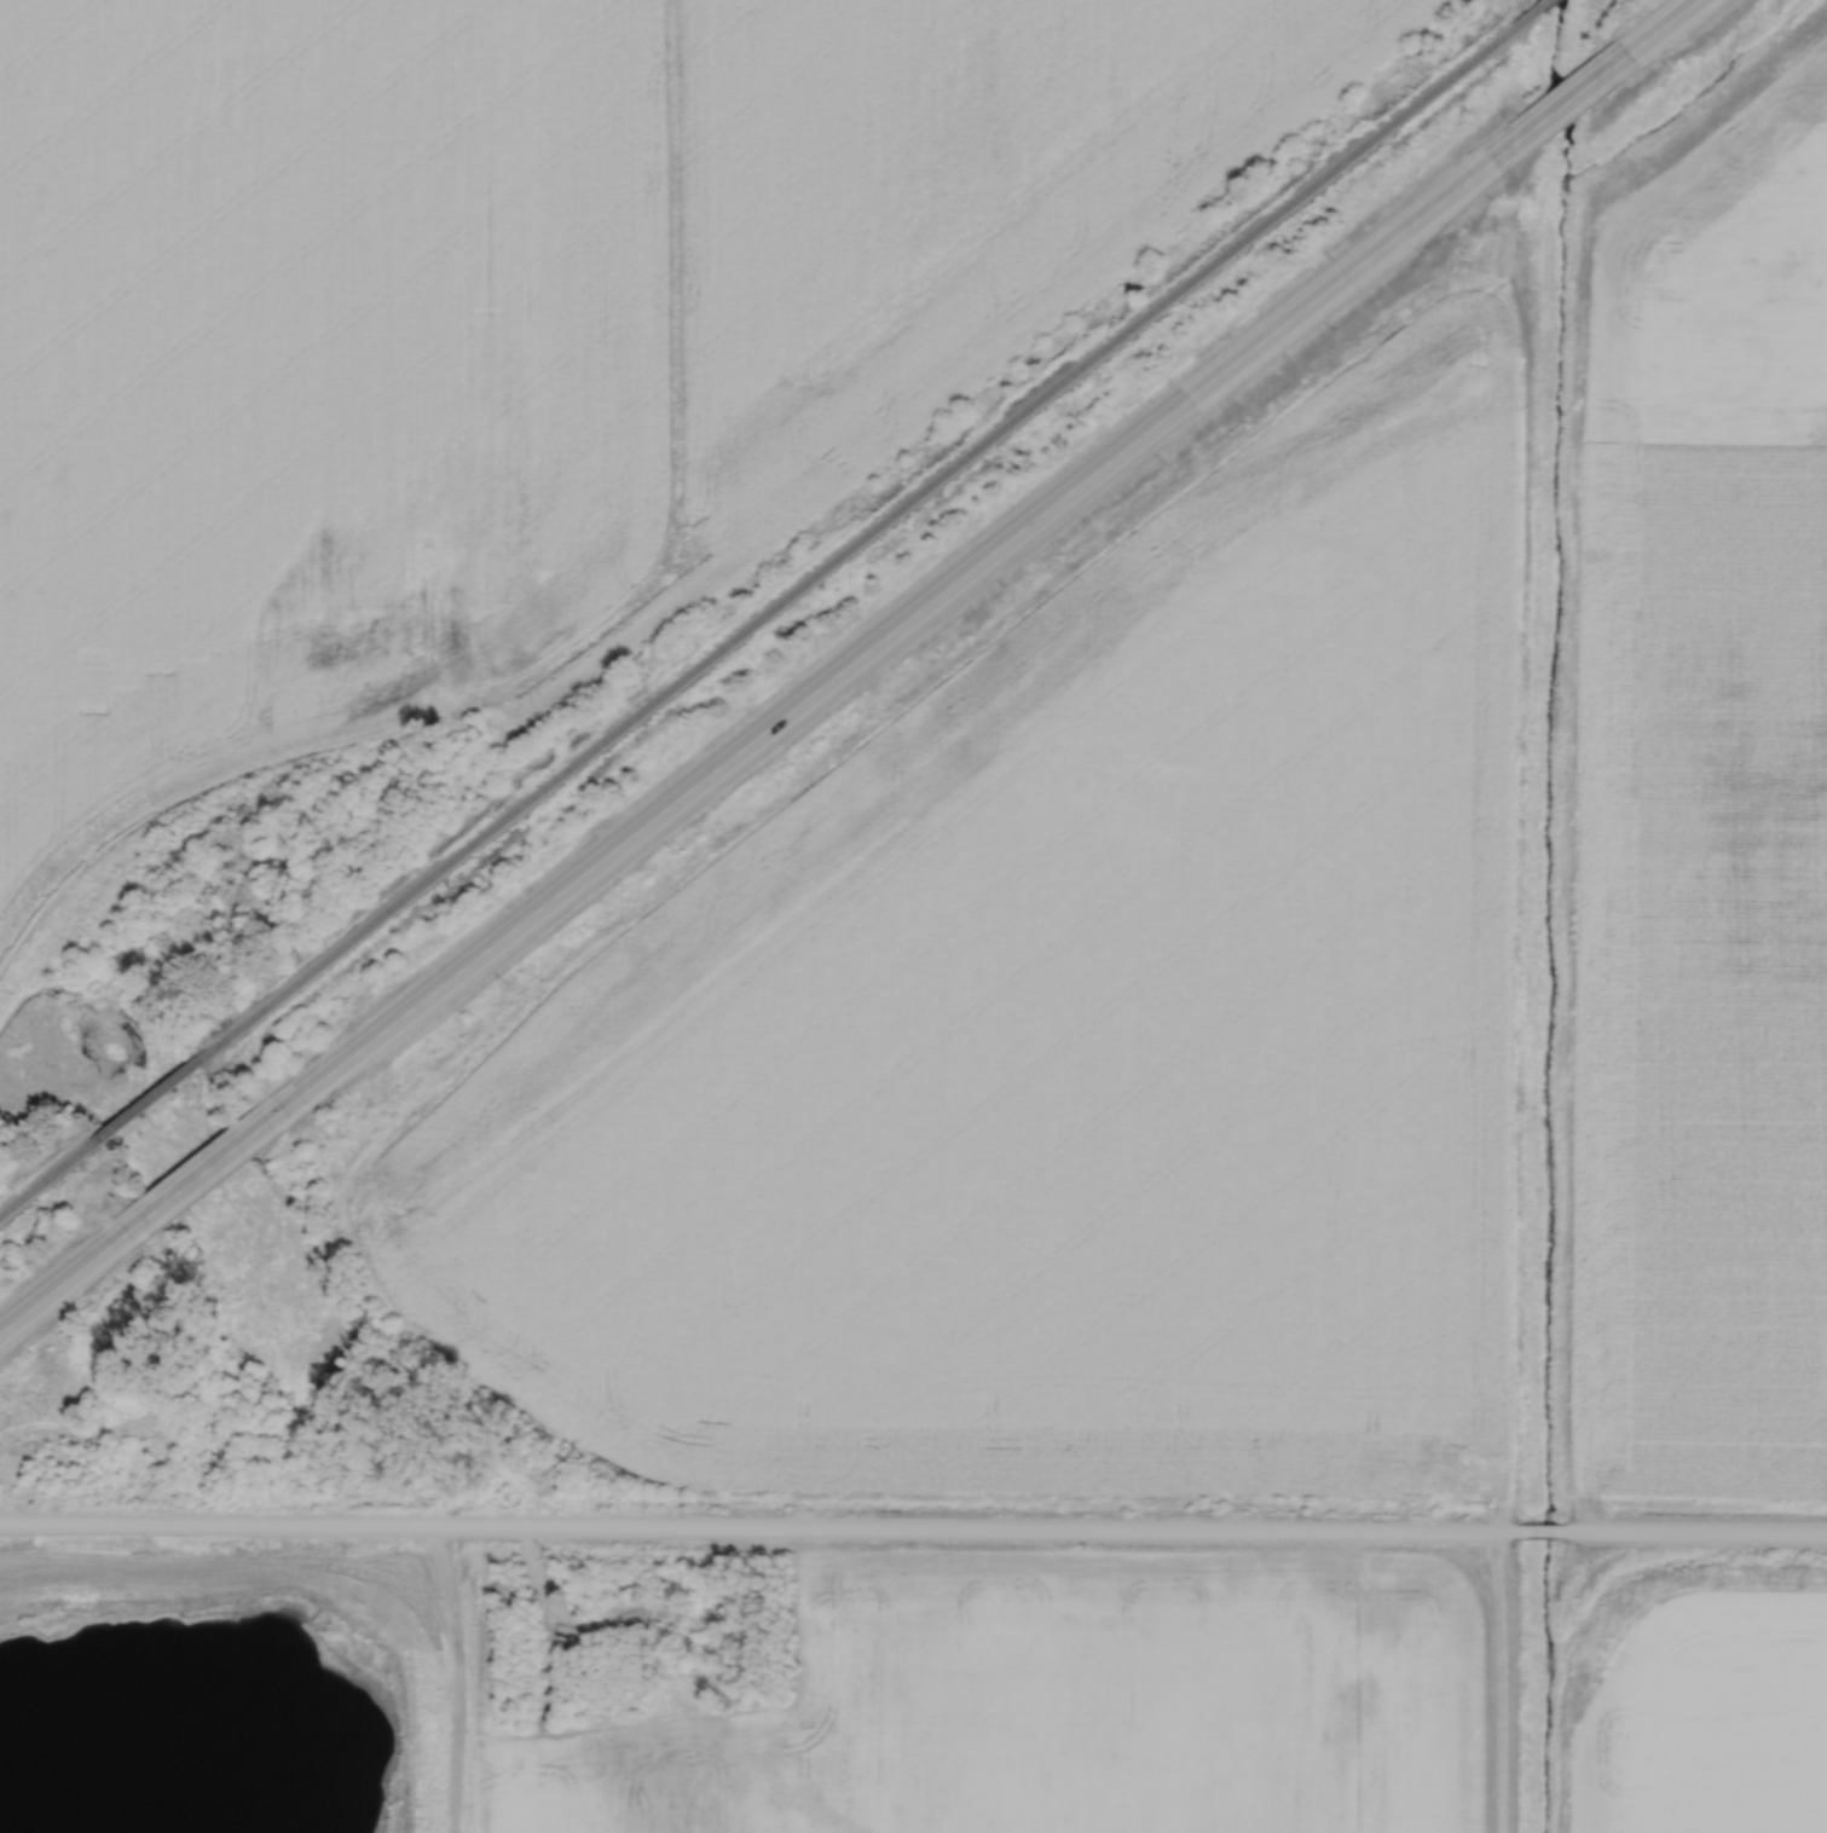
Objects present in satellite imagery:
railway: (1528, 13)
road: (1660, 25)
road: (1560, 104)
railway: (757, 620)
road: (745, 744)
road: (759, 1532)
road: (1543, 1533)
road: (1695, 1536)

